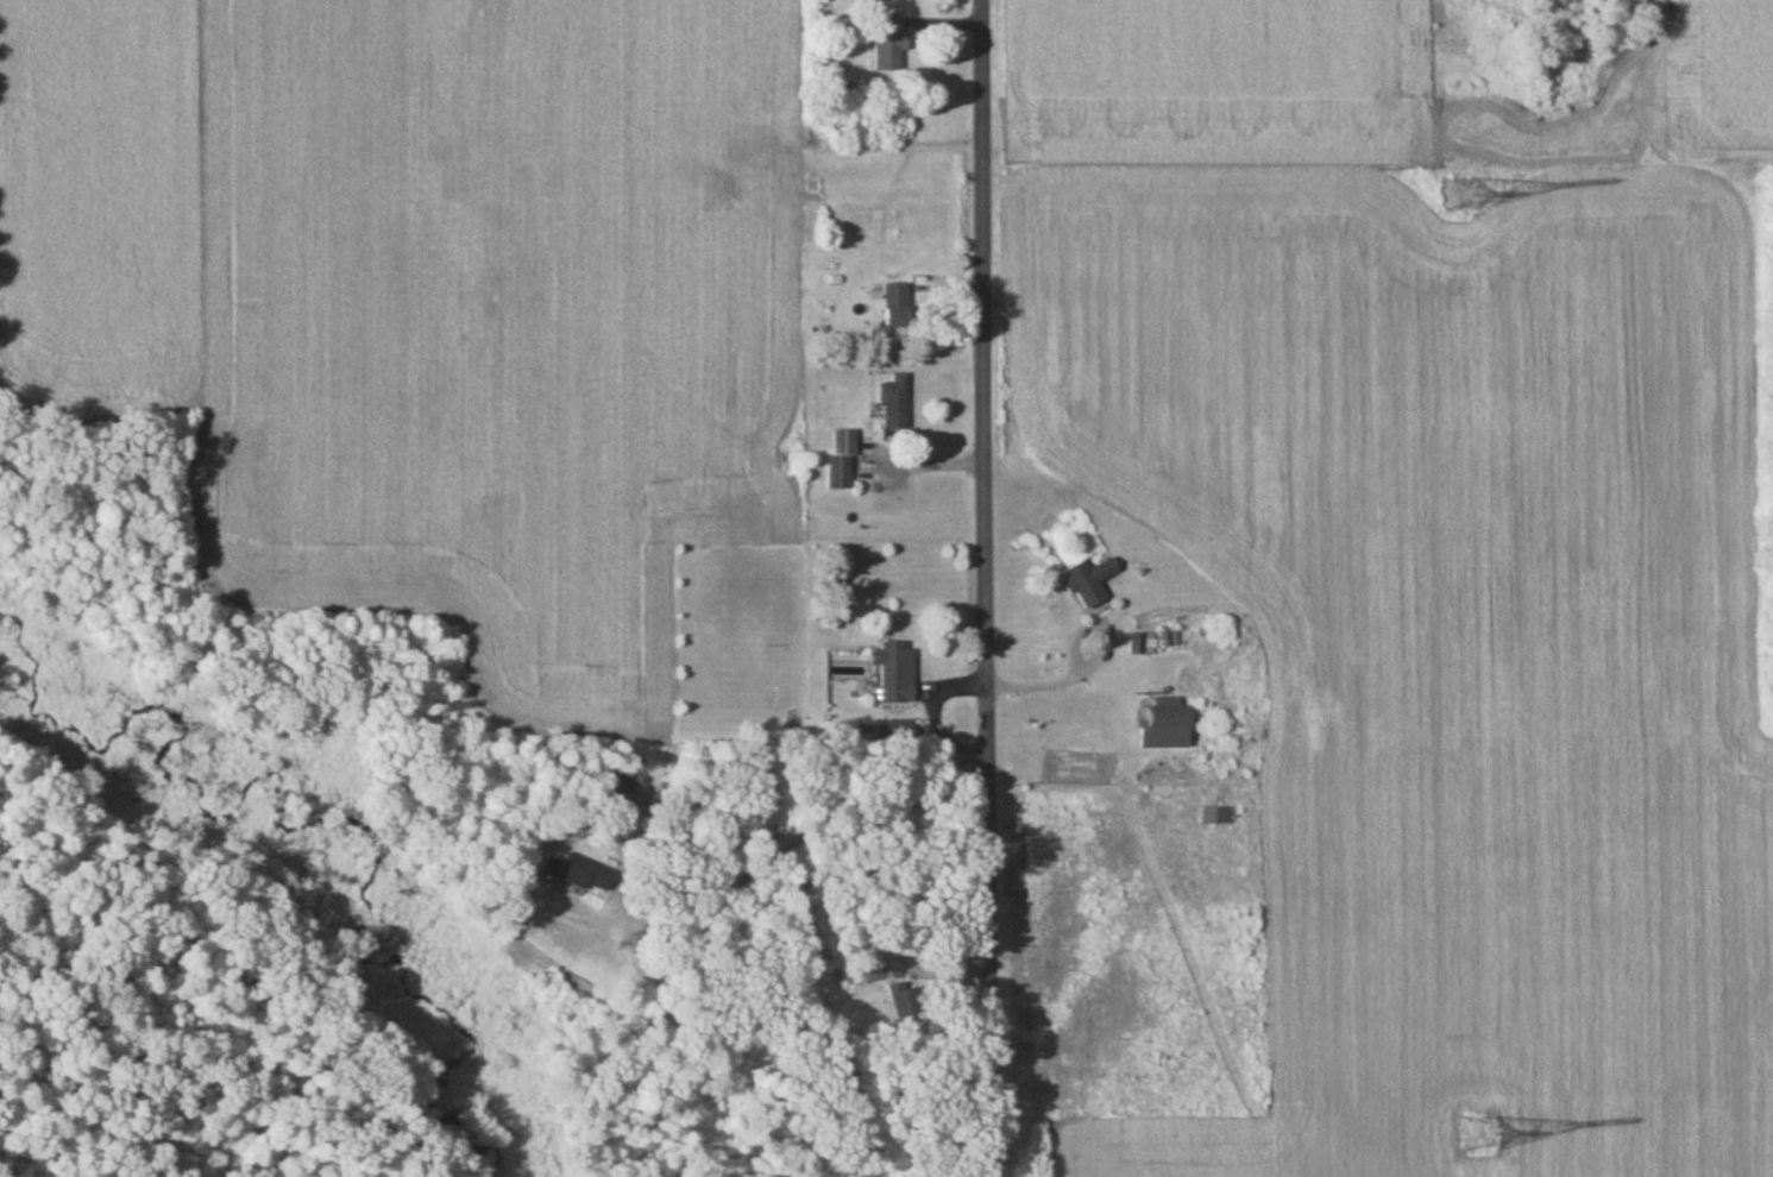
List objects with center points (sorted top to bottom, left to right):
building: (884, 44)
power tower: (1457, 191)
building: (893, 304)
building: (892, 405)
building: (840, 458)
building: (1086, 581)
road: (986, 587)
building: (1140, 644)
building: (889, 672)
building: (1158, 725)
building: (891, 731)
building: (611, 789)
building: (560, 873)
building: (872, 970)
road: (900, 1095)
power tower: (1482, 1133)

